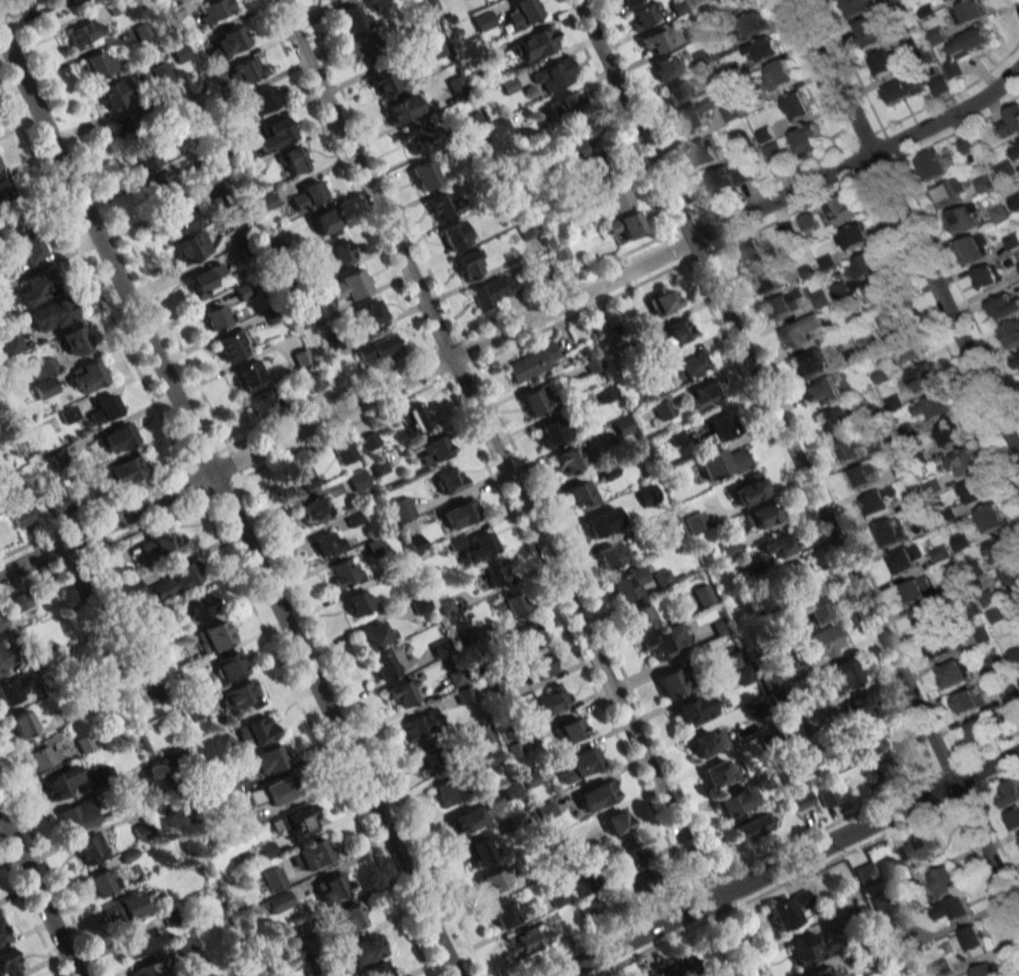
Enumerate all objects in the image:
building: (327, 0)
road: (1018, 0)
building: (73, 1)
building: (624, 1)
building: (698, 1)
building: (745, 3)
building: (857, 6)
building: (214, 10)
building: (969, 11)
building: (522, 13)
building: (644, 14)
building: (352, 20)
building: (483, 20)
building: (754, 23)
building: (872, 31)
building: (83, 32)
building: (229, 40)
building: (655, 40)
building: (535, 43)
building: (367, 47)
building: (966, 48)
building: (763, 49)
building: (702, 56)
building: (885, 61)
building: (99, 64)
building: (666, 66)
building: (244, 71)
building: (162, 74)
building: (779, 74)
building: (553, 75)
building: (382, 81)
building: (193, 84)
building: (508, 85)
building: (938, 85)
building: (905, 87)
building: (678, 91)
building: (113, 94)
building: (172, 95)
building: (263, 101)
building: (564, 105)
building: (796, 105)
building: (402, 108)
building: (695, 115)
building: (1009, 122)
building: (125, 125)
building: (501, 126)
building: (274, 134)
building: (577, 137)
building: (805, 139)
building: (411, 140)
building: (966, 144)
building: (1015, 147)
building: (706, 151)
building: (773, 152)
building: (143, 158)
building: (294, 159)
road: (857, 159)
building: (937, 164)
building: (599, 167)
building: (1005, 170)
building: (424, 175)
building: (729, 176)
building: (984, 183)
building: (160, 187)
building: (6, 190)
building: (950, 191)
building: (306, 195)
building: (613, 201)
building: (1015, 201)
building: (444, 206)
building: (843, 209)
building: (965, 218)
building: (177, 221)
building: (806, 221)
building: (323, 223)
building: (625, 225)
building: (787, 229)
road: (908, 230)
building: (455, 236)
building: (852, 237)
building: (188, 247)
building: (30, 248)
building: (975, 248)
building: (341, 252)
building: (754, 254)
building: (470, 262)
building: (867, 264)
building: (989, 275)
building: (204, 280)
building: (764, 280)
building: (346, 286)
building: (33, 288)
building: (494, 289)
building: (882, 292)
building: (820, 298)
building: (662, 302)
building: (787, 303)
building: (1004, 306)
building: (369, 312)
building: (49, 314)
building: (217, 316)
building: (896, 319)
building: (804, 330)
building: (676, 333)
building: (1012, 333)
building: (73, 341)
building: (10, 343)
building: (868, 343)
building: (231, 345)
building: (375, 347)
building: (911, 349)
building: (846, 355)
building: (301, 356)
building: (1017, 360)
building: (532, 363)
building: (808, 364)
building: (686, 366)
building: (249, 375)
building: (86, 376)
building: (925, 377)
building: (315, 382)
building: (824, 390)
road: (763, 391)
building: (703, 394)
building: (535, 400)
building: (262, 401)
building: (935, 406)
building: (105, 408)
road: (345, 408)
building: (662, 409)
building: (415, 418)
building: (835, 421)
building: (720, 428)
building: (952, 432)
building: (551, 433)
building: (121, 436)
building: (370, 440)
building: (432, 449)
building: (848, 449)
building: (345, 453)
building: (567, 460)
building: (963, 461)
building: (722, 463)
building: (378, 466)
building: (124, 470)
building: (863, 476)
building: (448, 479)
building: (357, 480)
road: (511, 488)
building: (748, 490)
building: (976, 491)
building: (581, 495)
building: (877, 501)
building: (60, 504)
road: (227, 506)
building: (315, 509)
building: (401, 509)
building: (458, 514)
building: (22, 516)
building: (760, 516)
building: (992, 518)
building: (929, 523)
building: (595, 525)
building: (890, 532)
building: (962, 540)
building: (326, 542)
building: (159, 545)
building: (729, 546)
building: (777, 546)
building: (480, 547)
building: (1003, 547)
building: (940, 553)
building: (612, 555)
building: (908, 558)
building: (343, 572)
building: (495, 572)
building: (1012, 574)
building: (800, 577)
building: (174, 580)
building: (627, 584)
building: (128, 589)
building: (918, 589)
building: (703, 594)
building: (989, 600)
building: (18, 601)
building: (358, 602)
building: (510, 603)
building: (196, 607)
building: (815, 608)
building: (996, 613)
building: (638, 618)
building: (923, 620)
building: (2, 621)
building: (374, 635)
building: (526, 635)
building: (211, 636)
building: (823, 641)
building: (665, 642)
building: (940, 646)
building: (4, 657)
building: (387, 662)
building: (996, 663)
building: (229, 666)
building: (536, 667)
building: (739, 667)
building: (956, 671)
building: (840, 677)
building: (671, 682)
building: (9, 692)
building: (402, 693)
building: (463, 694)
building: (240, 695)
building: (547, 701)
building: (969, 701)
building: (860, 703)
building: (694, 709)
building: (194, 711)
building: (26, 722)
building: (417, 726)
building: (982, 729)
building: (569, 730)
building: (254, 731)
building: (482, 738)
building: (866, 740)
building: (702, 744)
building: (41, 754)
building: (433, 755)
building: (264, 760)
building: (583, 761)
road: (986, 767)
building: (886, 768)
building: (719, 773)
building: (61, 782)
building: (230, 789)
building: (451, 789)
building: (143, 792)
building: (271, 793)
building: (600, 793)
building: (1009, 793)
building: (828, 797)
building: (735, 803)
building: (77, 816)
building: (1014, 819)
building: (465, 820)
building: (296, 822)
building: (616, 822)
building: (751, 827)
building: (927, 843)
building: (89, 848)
building: (265, 850)
building: (627, 851)
road: (986, 851)
building: (477, 852)
building: (311, 854)
building: (274, 879)
building: (496, 879)
road: (753, 879)
building: (946, 881)
building: (101, 882)
building: (640, 882)
building: (331, 887)
road: (38, 897)
building: (558, 897)
building: (884, 904)
building: (123, 909)
building: (954, 909)
building: (789, 910)
building: (504, 912)
building: (345, 919)
building: (2, 935)
building: (528, 939)
building: (971, 939)
building: (138, 942)
building: (810, 948)
building: (362, 951)
building: (8, 963)
building: (310, 964)
building: (677, 967)
building: (941, 967)
building: (376, 969)
building: (147, 970)
building: (984, 970)
building: (821, 971)

